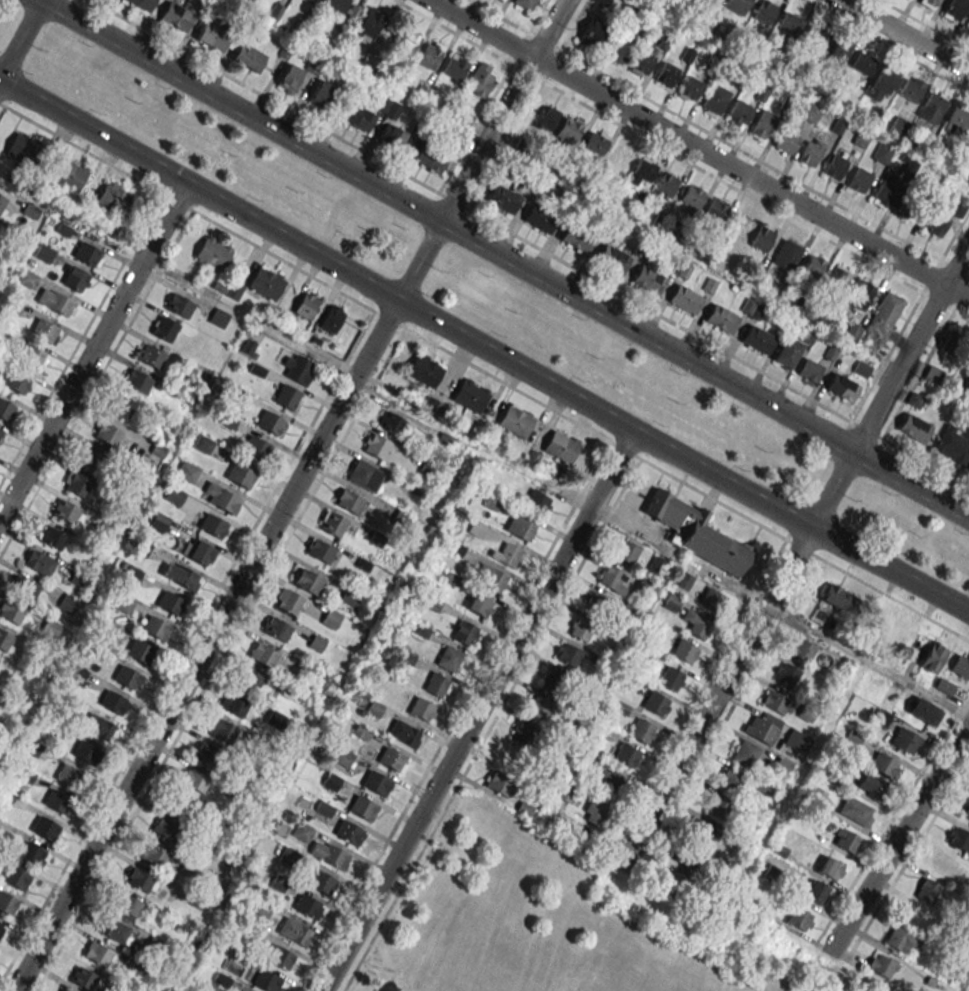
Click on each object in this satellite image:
building: (313, 0)
building: (504, 0)
building: (712, 1)
building: (602, 2)
building: (929, 3)
building: (142, 4)
building: (524, 4)
building: (737, 6)
building: (342, 9)
building: (954, 9)
building: (764, 12)
building: (176, 16)
road: (497, 16)
building: (968, 23)
building: (789, 24)
road: (924, 24)
building: (368, 26)
building: (592, 34)
road: (904, 35)
building: (212, 37)
road: (21, 38)
building: (813, 38)
building: (407, 41)
road: (887, 45)
building: (624, 46)
building: (838, 51)
building: (430, 54)
building: (248, 57)
building: (642, 60)
building: (863, 64)
building: (455, 67)
road: (506, 70)
road: (546, 71)
building: (666, 74)
building: (288, 78)
building: (480, 79)
building: (881, 84)
building: (689, 88)
building: (911, 88)
building: (320, 93)
building: (714, 100)
road: (2, 104)
building: (933, 106)
building: (388, 108)
road: (503, 110)
building: (738, 113)
building: (358, 117)
building: (544, 117)
building: (958, 120)
building: (762, 126)
building: (899, 126)
building: (568, 130)
building: (393, 138)
building: (786, 141)
building: (595, 143)
road: (687, 143)
road: (731, 145)
building: (23, 149)
building: (882, 153)
building: (809, 154)
building: (617, 156)
building: (430, 158)
building: (834, 167)
building: (643, 170)
building: (69, 174)
building: (859, 180)
building: (665, 185)
building: (883, 194)
building: (691, 197)
building: (112, 198)
building: (504, 199)
road: (755, 199)
building: (2, 202)
building: (714, 210)
building: (540, 218)
road: (487, 220)
building: (739, 224)
building: (935, 224)
building: (575, 238)
building: (762, 239)
building: (44, 253)
building: (86, 253)
building: (211, 253)
building: (786, 255)
road: (316, 256)
road: (504, 257)
building: (611, 259)
road: (956, 263)
building: (812, 266)
building: (837, 277)
building: (27, 278)
building: (76, 279)
building: (648, 280)
building: (266, 284)
road: (957, 292)
building: (861, 293)
building: (684, 298)
building: (54, 302)
building: (306, 305)
building: (180, 306)
building: (752, 308)
building: (886, 311)
road: (251, 315)
building: (332, 319)
building: (721, 319)
road: (390, 320)
building: (164, 328)
building: (44, 330)
building: (806, 334)
road: (80, 337)
building: (757, 339)
building: (956, 345)
road: (92, 351)
building: (786, 352)
building: (32, 356)
building: (151, 356)
building: (298, 369)
road: (899, 369)
building: (809, 370)
building: (425, 371)
building: (932, 373)
building: (15, 381)
road: (95, 381)
building: (137, 381)
building: (841, 388)
building: (285, 397)
building: (470, 397)
building: (123, 406)
building: (6, 410)
building: (270, 422)
building: (391, 422)
building: (515, 422)
building: (914, 427)
building: (1, 432)
building: (108, 434)
building: (203, 444)
building: (952, 445)
building: (376, 446)
building: (561, 447)
building: (256, 448)
road: (909, 452)
building: (91, 457)
building: (967, 467)
building: (186, 472)
building: (239, 475)
building: (364, 475)
building: (76, 484)
building: (174, 495)
building: (220, 497)
building: (348, 501)
building: (536, 503)
building: (65, 510)
building: (400, 518)
road: (801, 521)
building: (159, 522)
building: (333, 524)
building: (212, 525)
building: (523, 529)
building: (695, 532)
building: (52, 537)
building: (142, 547)
building: (320, 551)
building: (199, 552)
building: (626, 552)
building: (509, 555)
building: (39, 563)
road: (836, 566)
building: (132, 574)
building: (181, 575)
building: (611, 577)
building: (79, 578)
building: (494, 580)
building: (683, 581)
building: (308, 582)
building: (645, 585)
building: (24, 587)
building: (349, 597)
building: (836, 597)
building: (709, 598)
building: (169, 602)
building: (289, 602)
building: (597, 604)
building: (67, 605)
building: (479, 605)
road: (227, 607)
building: (11, 612)
building: (331, 618)
building: (696, 623)
building: (50, 628)
building: (156, 628)
building: (277, 629)
building: (581, 629)
building: (463, 633)
building: (4, 640)
building: (317, 643)
building: (801, 649)
building: (684, 651)
building: (140, 652)
building: (567, 654)
building: (263, 655)
building: (932, 657)
building: (448, 659)
road: (736, 661)
road: (868, 661)
building: (960, 667)
building: (76, 673)
building: (786, 675)
building: (127, 677)
building: (669, 678)
building: (247, 679)
building: (554, 680)
building: (436, 685)
building: (943, 686)
building: (588, 692)
building: (113, 701)
building: (775, 701)
building: (654, 703)
building: (234, 705)
building: (538, 706)
building: (422, 709)
road: (477, 711)
building: (924, 711)
road: (455, 716)
road: (490, 724)
building: (97, 726)
building: (641, 730)
building: (760, 730)
building: (222, 731)
building: (404, 733)
building: (521, 733)
building: (795, 739)
building: (904, 740)
building: (744, 753)
building: (84, 754)
building: (626, 755)
building: (208, 756)
building: (341, 756)
building: (391, 759)
building: (512, 759)
building: (883, 765)
building: (69, 776)
building: (730, 779)
building: (194, 780)
building: (608, 780)
building: (375, 782)
building: (498, 783)
building: (871, 784)
building: (56, 802)
building: (183, 806)
building: (719, 806)
building: (362, 807)
building: (324, 808)
building: (594, 810)
building: (855, 810)
building: (966, 813)
building: (44, 827)
building: (167, 827)
building: (301, 832)
building: (348, 832)
building: (702, 834)
road: (898, 839)
building: (958, 839)
building: (844, 840)
building: (31, 854)
building: (153, 855)
building: (685, 855)
building: (333, 857)
building: (944, 864)
building: (830, 868)
building: (14, 877)
building: (139, 879)
building: (319, 881)
building: (813, 890)
building: (928, 891)
building: (7, 904)
building: (127, 904)
building: (306, 906)
building: (915, 917)
building: (798, 919)
park: (552, 921)
building: (1, 927)
building: (113, 929)
building: (293, 931)
building: (903, 939)
building: (97, 954)
building: (279, 957)
building: (881, 965)
building: (83, 978)
building: (265, 980)
building: (65, 990)

